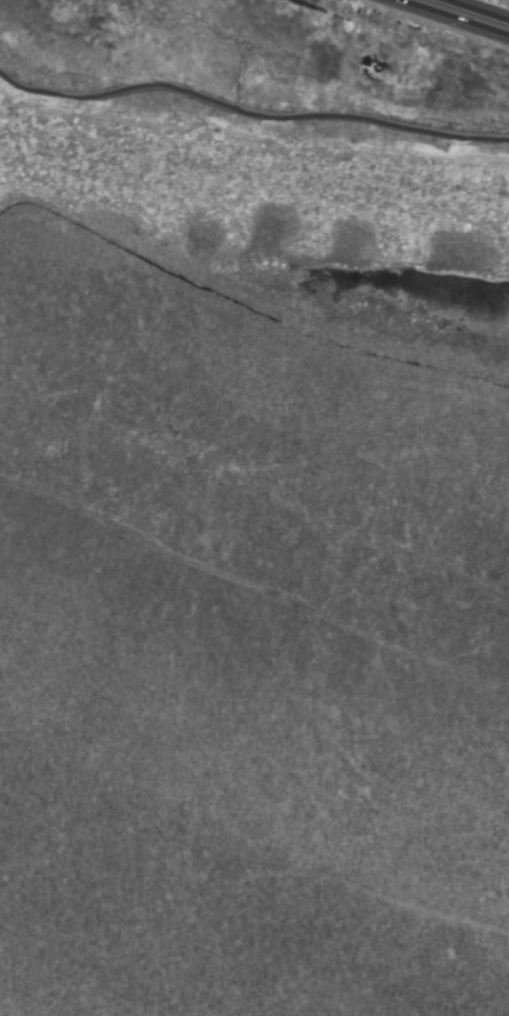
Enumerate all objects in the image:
road: (466, 13)
road: (444, 20)

